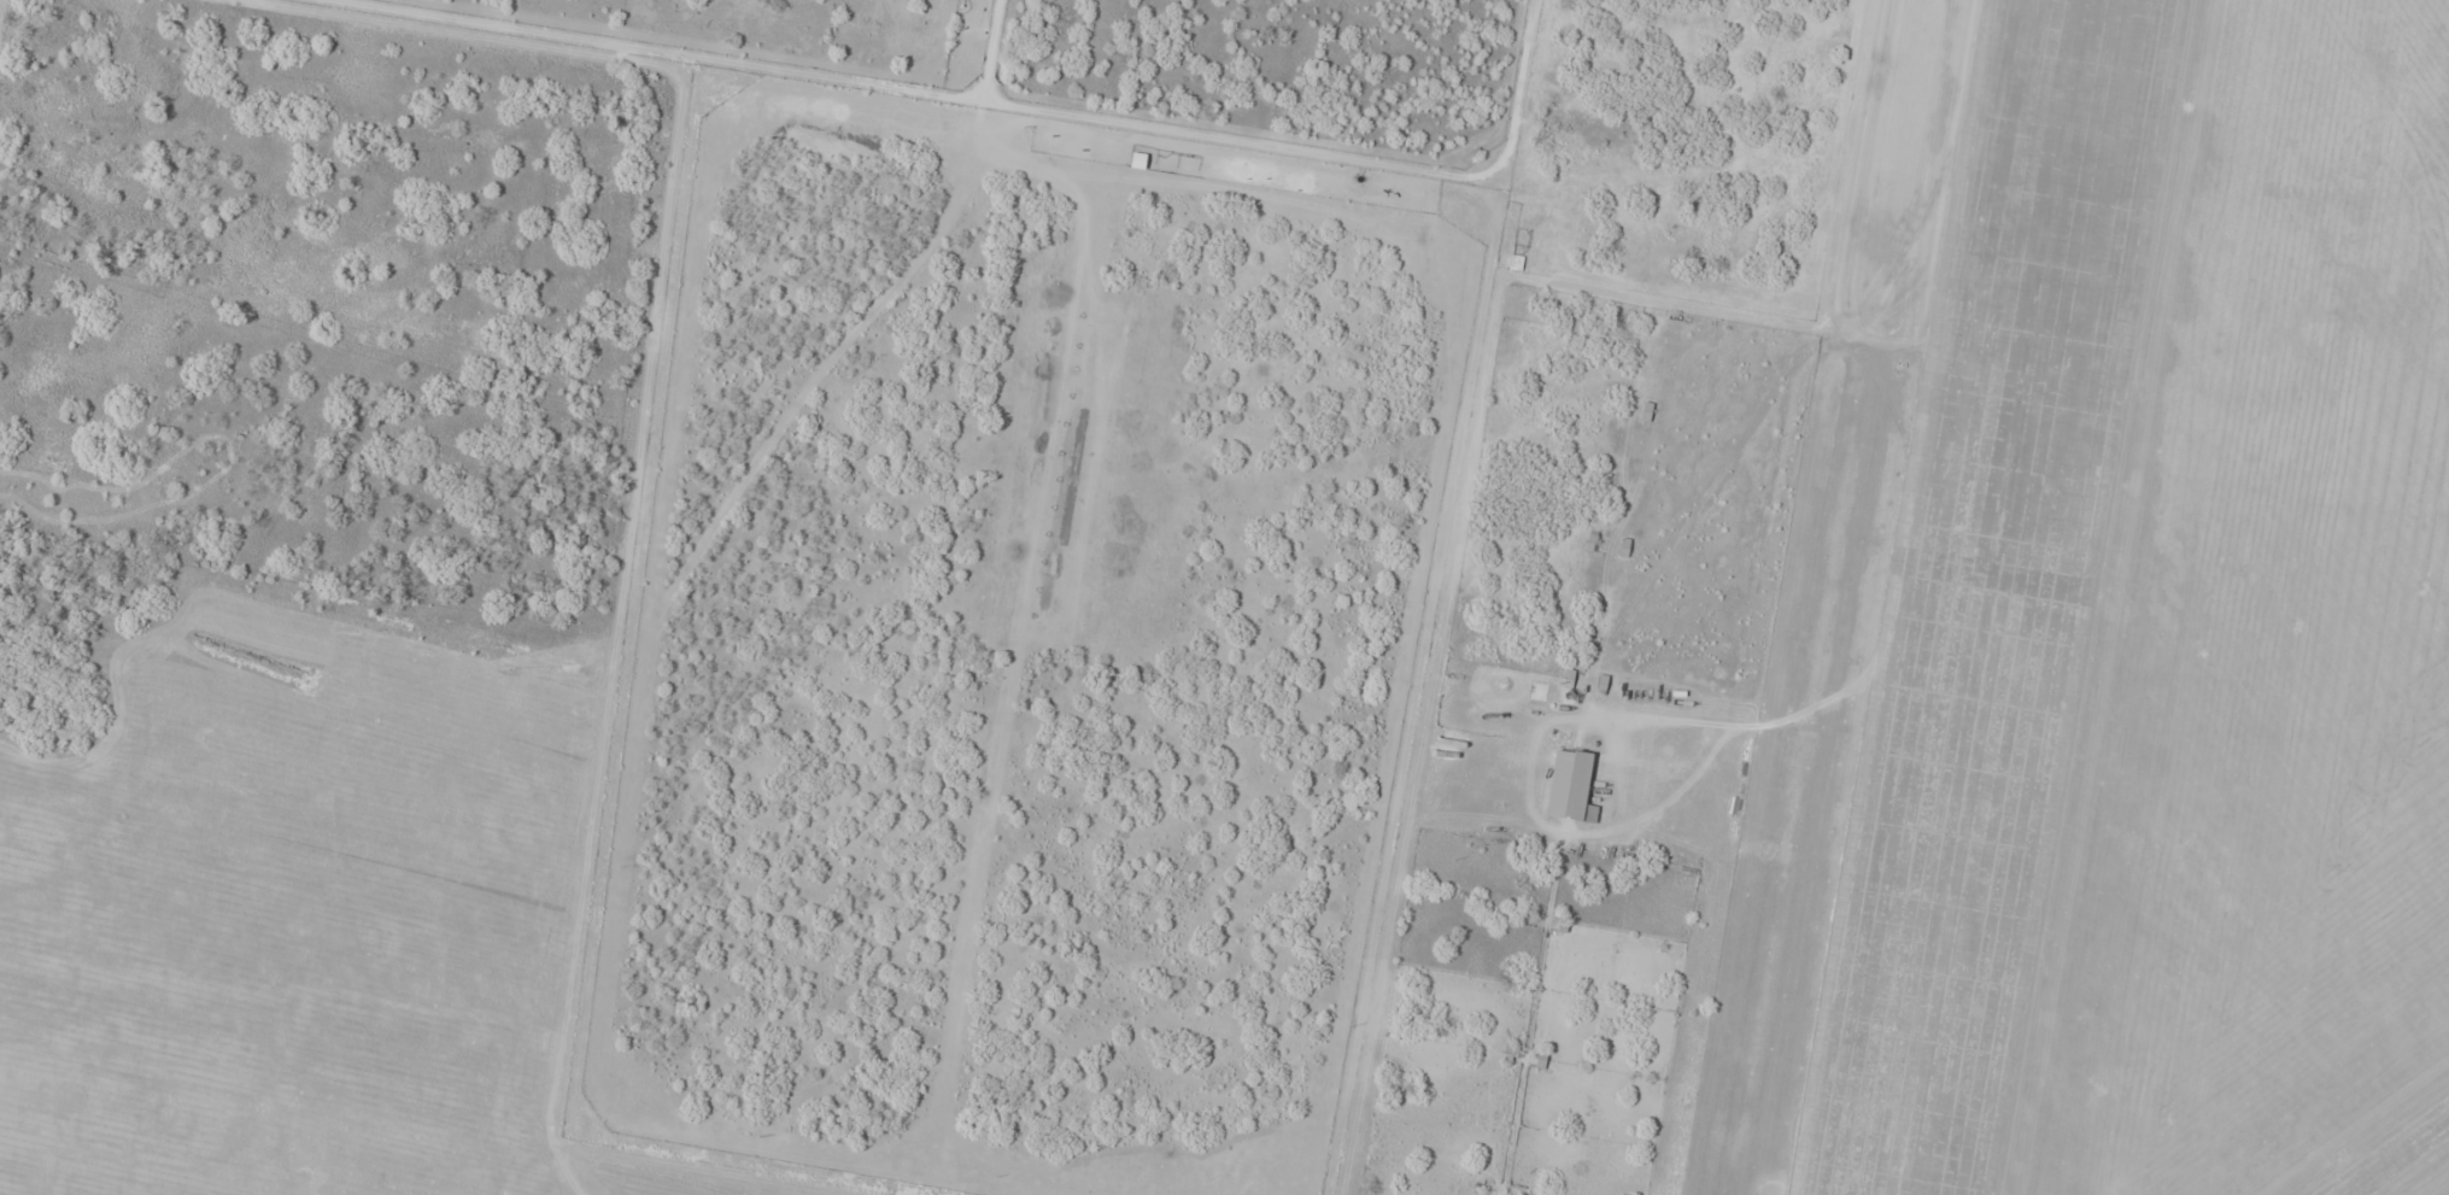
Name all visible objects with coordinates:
building: (1647, 414)
airport runway: (1993, 597)
airport: (1505, 599)
building: (1571, 786)
building: (1542, 1059)
airport taxiway: (2400, 1159)
building: (931, 1184)

